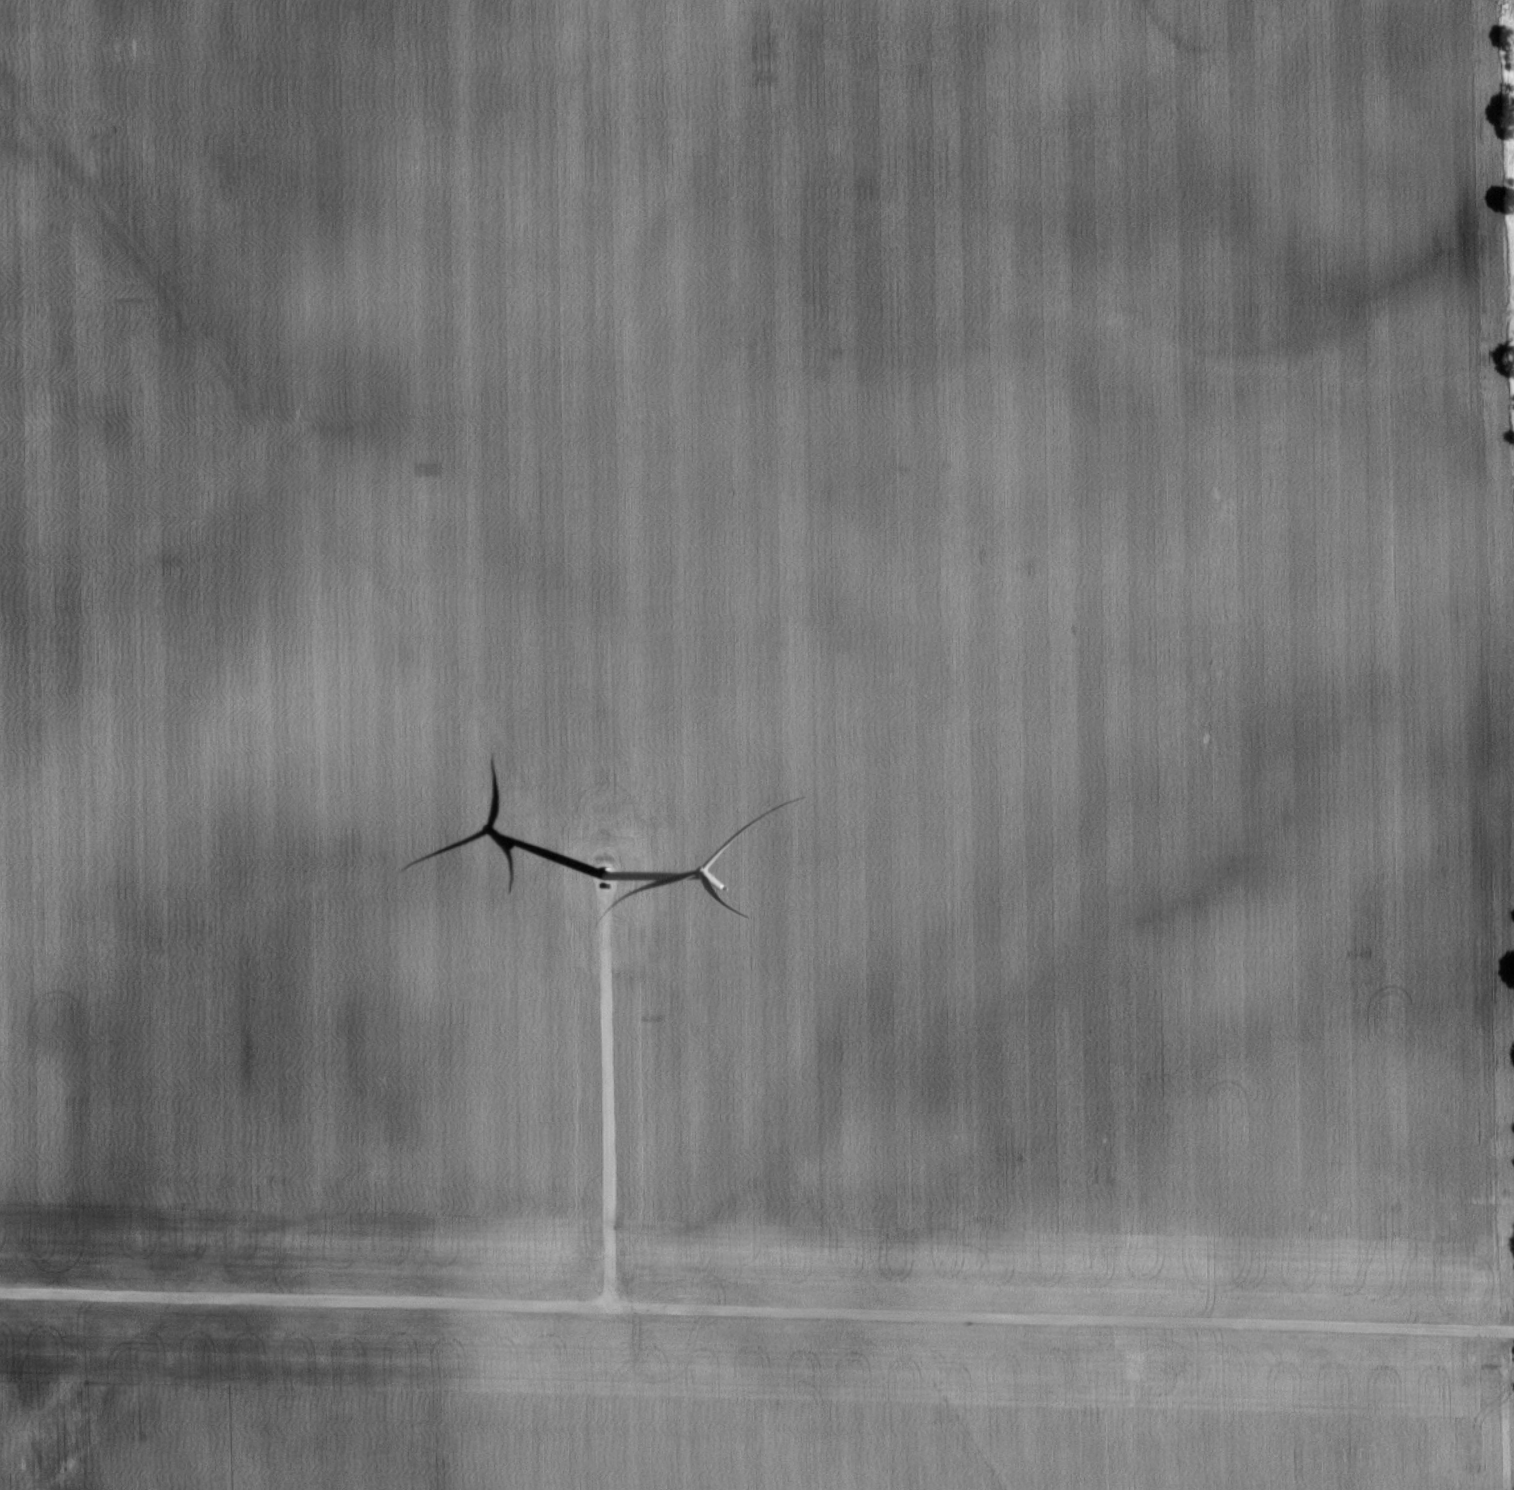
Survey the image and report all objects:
wind turbine: (591, 876)
road: (610, 1099)
road: (757, 1310)

